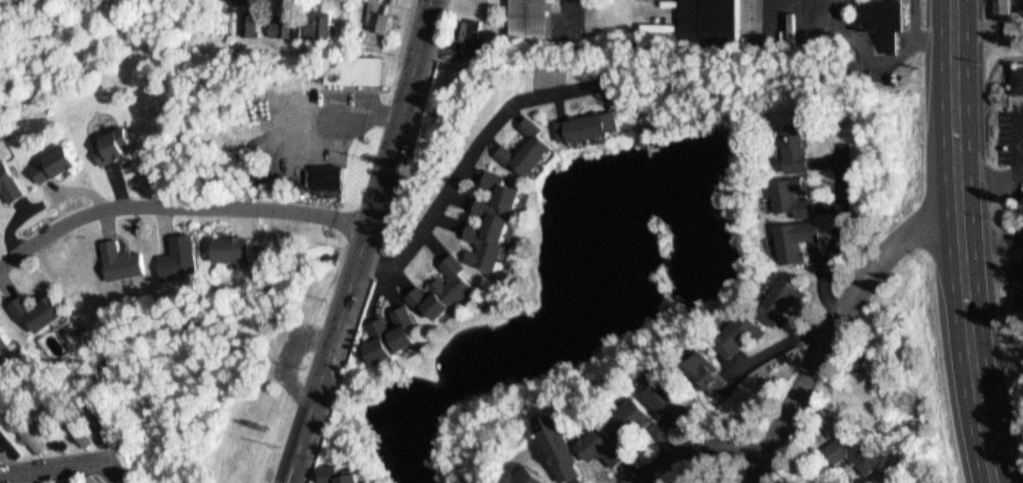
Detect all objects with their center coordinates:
building: (242, 1)
building: (1005, 9)
building: (382, 15)
building: (888, 19)
building: (535, 20)
building: (713, 21)
building: (251, 22)
building: (291, 23)
building: (324, 23)
building: (1015, 28)
building: (477, 37)
road: (403, 38)
building: (359, 67)
building: (1020, 80)
building: (579, 122)
building: (106, 138)
building: (793, 141)
building: (524, 142)
building: (118, 146)
building: (803, 149)
road: (472, 155)
building: (47, 158)
building: (58, 164)
building: (332, 175)
building: (7, 180)
building: (789, 196)
road: (179, 206)
building: (488, 214)
building: (792, 233)
road: (836, 233)
building: (803, 240)
road: (368, 243)
road: (381, 243)
road: (961, 243)
building: (240, 245)
building: (177, 249)
building: (119, 254)
building: (440, 281)
building: (1021, 286)
building: (776, 291)
building: (36, 303)
building: (732, 327)
road: (833, 327)
building: (386, 328)
building: (3, 333)
road: (776, 343)
road: (286, 356)
building: (698, 365)
building: (711, 371)
building: (667, 394)
building: (628, 410)
building: (96, 419)
building: (74, 424)
building: (23, 426)
building: (50, 427)
building: (107, 428)
building: (7, 438)
building: (558, 440)
building: (600, 440)
road: (693, 449)
building: (844, 451)
building: (860, 453)
road: (67, 465)
building: (337, 472)
building: (528, 473)
building: (89, 477)
building: (63, 478)
building: (38, 479)
building: (14, 481)
building: (70, 481)

